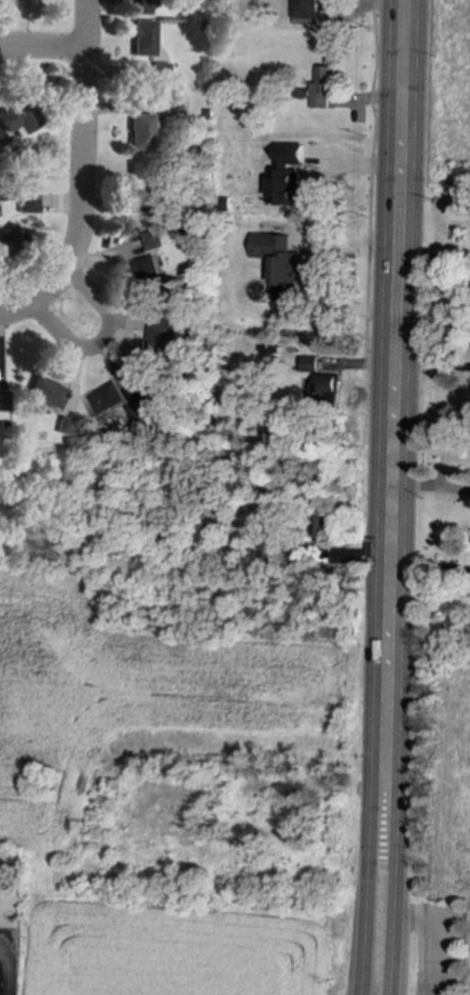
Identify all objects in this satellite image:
building: (142, 3)
building: (304, 8)
building: (142, 38)
road: (42, 48)
building: (322, 87)
building: (17, 117)
building: (139, 132)
building: (290, 154)
road: (82, 178)
building: (138, 180)
road: (370, 183)
building: (284, 186)
building: (26, 203)
building: (162, 205)
building: (9, 240)
building: (155, 240)
building: (277, 258)
building: (149, 272)
road: (433, 302)
building: (169, 340)
road: (102, 343)
road: (395, 343)
building: (308, 364)
building: (327, 387)
building: (44, 392)
building: (107, 399)
building: (2, 401)
building: (141, 411)
building: (64, 426)
building: (321, 523)
road: (429, 568)
crop: (176, 797)
road: (368, 840)
road: (396, 840)
road: (436, 940)
road: (4, 971)

